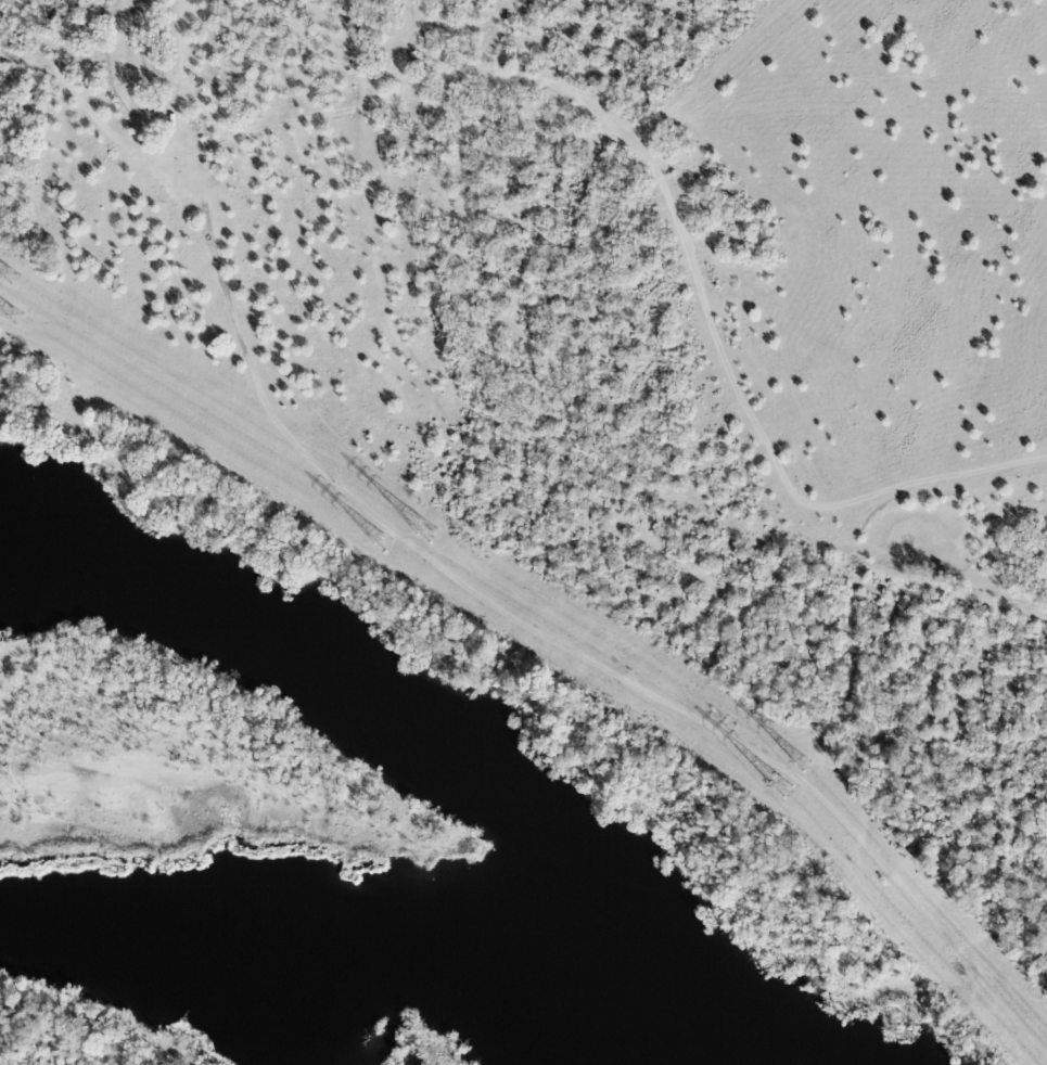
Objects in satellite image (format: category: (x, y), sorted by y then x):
road: (140, 145)
power tower: (14, 280)
power tower: (23, 319)
power tower: (430, 536)
power tower: (394, 544)
power tower: (808, 766)
power tower: (794, 792)

